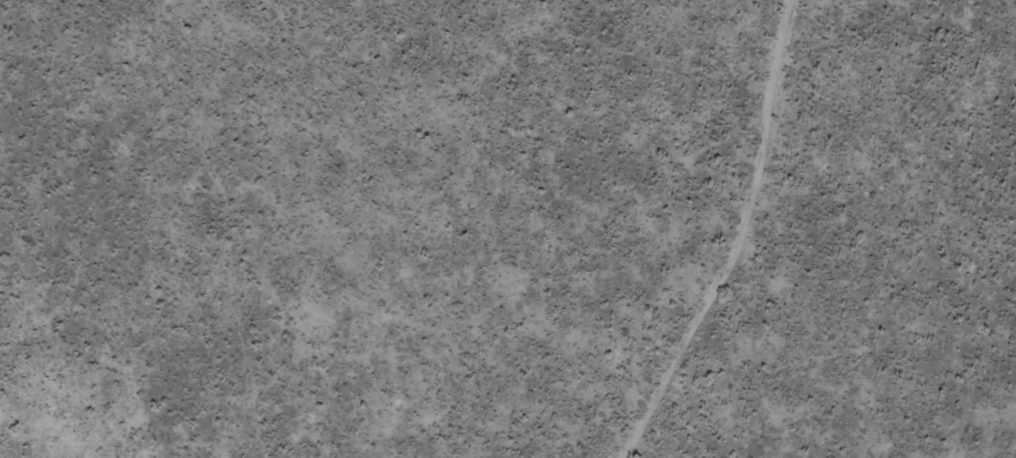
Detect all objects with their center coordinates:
road: (745, 230)

